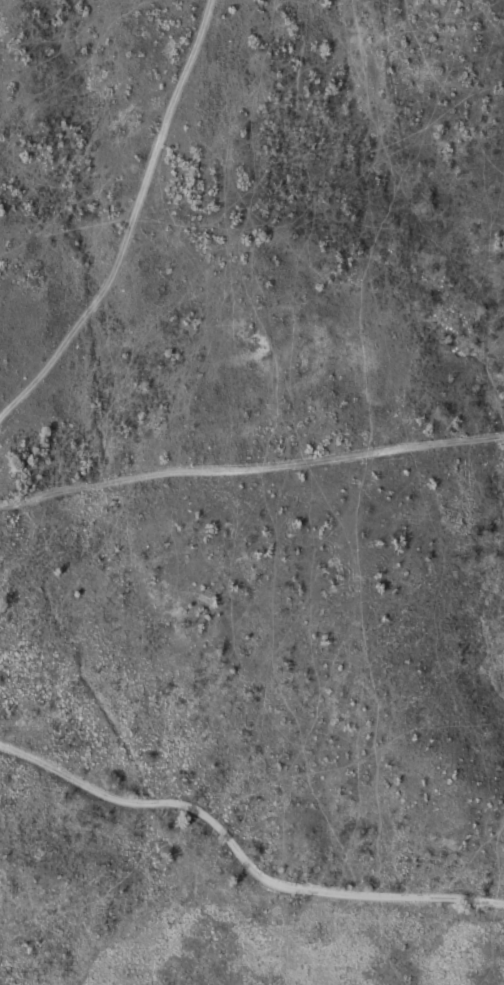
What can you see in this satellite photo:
road: (250, 872)

